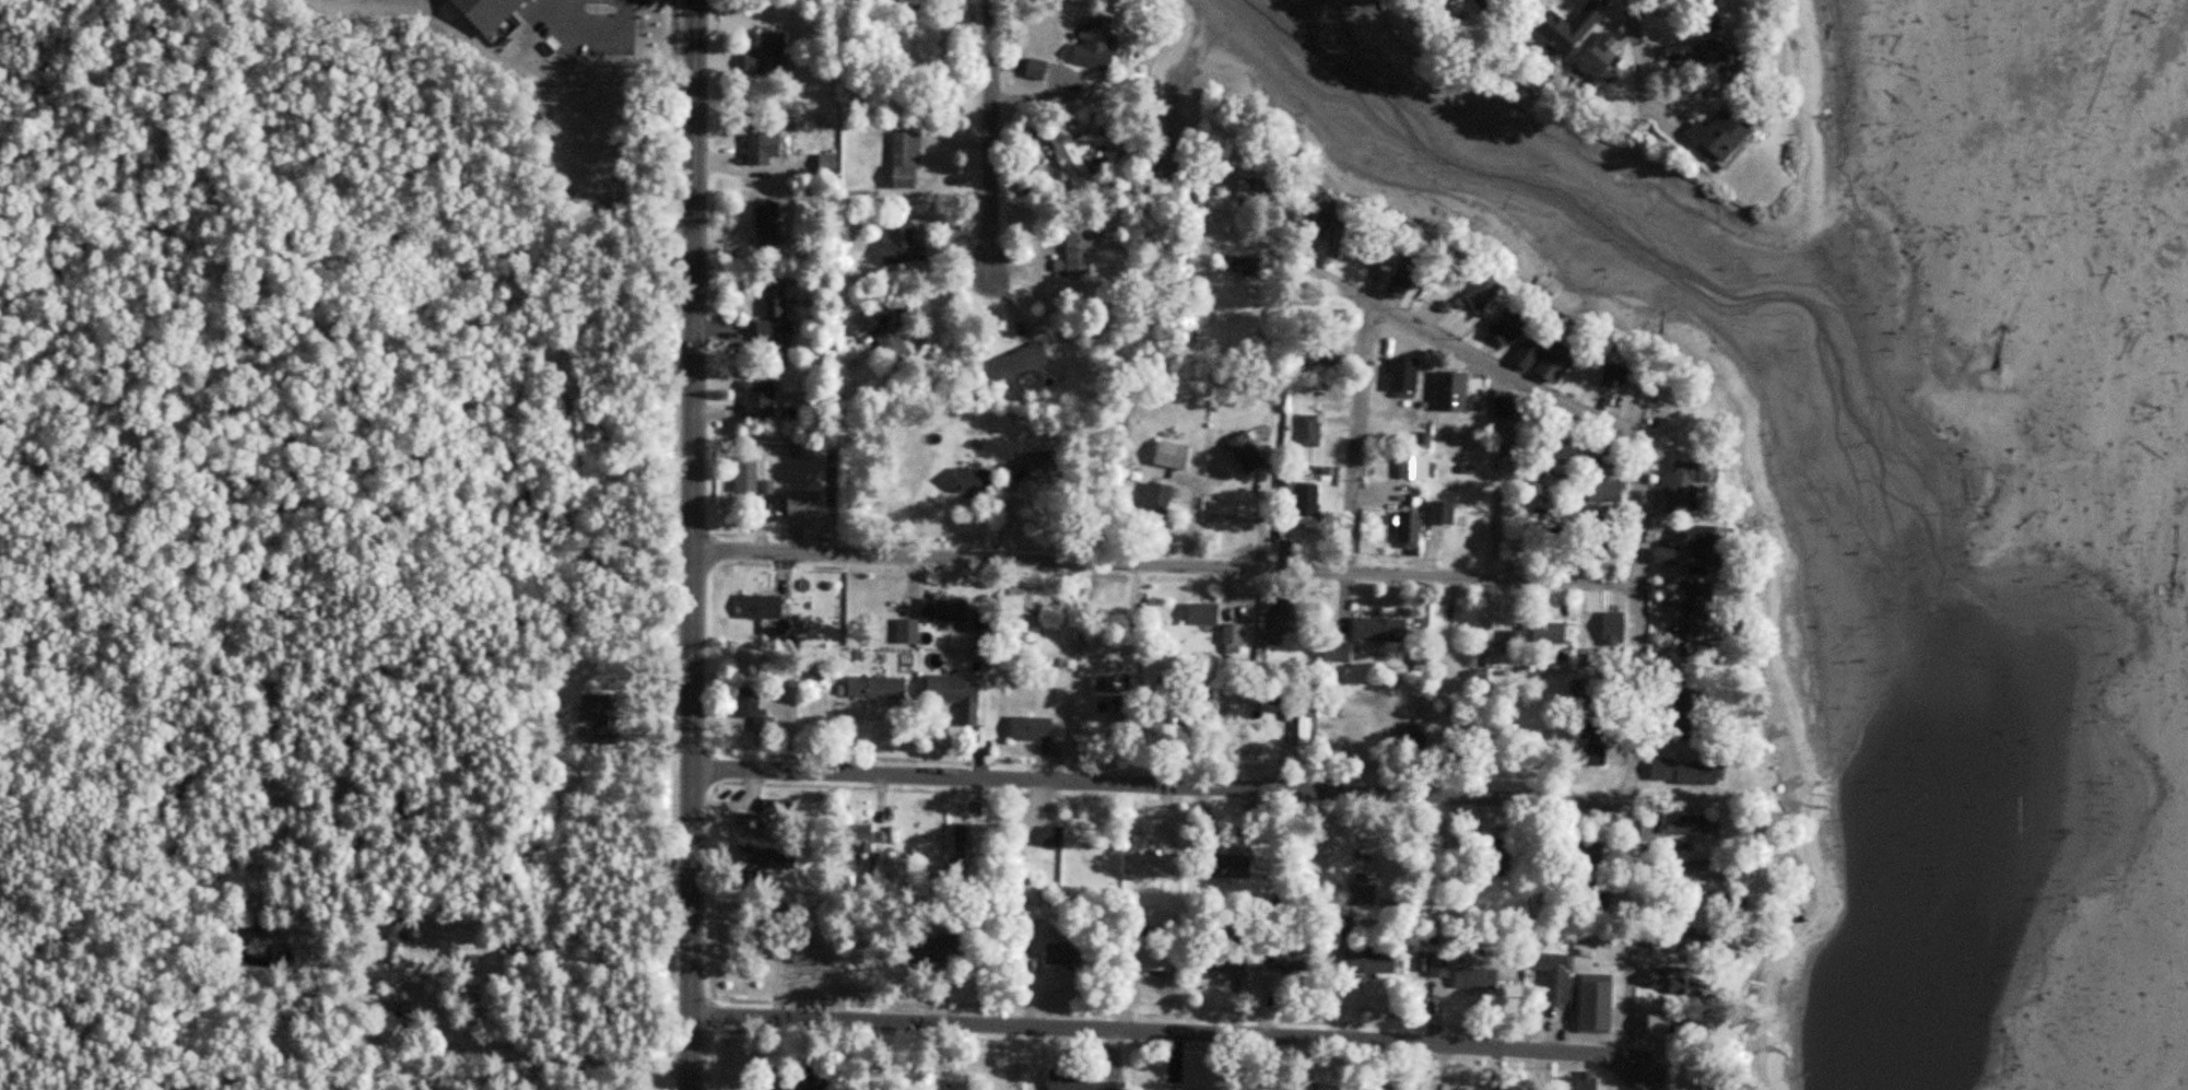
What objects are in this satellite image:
building: (1494, 4)
building: (1711, 7)
building: (1562, 30)
building: (1101, 42)
building: (768, 50)
building: (1600, 56)
building: (1724, 57)
road: (1630, 72)
road: (990, 128)
building: (1719, 131)
building: (767, 143)
building: (1083, 153)
building: (909, 159)
building: (831, 163)
building: (1264, 189)
building: (1325, 216)
building: (769, 223)
building: (905, 241)
building: (1348, 241)
building: (1085, 248)
building: (1388, 254)
building: (1255, 266)
building: (1412, 274)
road: (1344, 289)
building: (1486, 291)
building: (778, 313)
building: (1519, 325)
building: (887, 338)
building: (1322, 351)
building: (1549, 356)
building: (1025, 361)
building: (1622, 374)
building: (1456, 389)
building: (763, 397)
building: (1313, 430)
road: (1358, 437)
building: (1175, 455)
building: (1619, 461)
building: (1418, 467)
road: (1642, 468)
building: (750, 472)
building: (976, 479)
building: (1691, 482)
building: (1612, 491)
building: (1162, 500)
building: (1310, 500)
building: (808, 501)
building: (1447, 512)
building: (1413, 528)
building: (1710, 536)
building: (1469, 539)
road: (696, 544)
building: (1672, 555)
road: (1167, 567)
building: (764, 607)
building: (1706, 609)
building: (948, 610)
building: (1207, 611)
building: (1385, 629)
building: (1553, 632)
building: (1236, 638)
building: (1341, 653)
building: (753, 660)
building: (879, 685)
building: (960, 694)
building: (751, 701)
building: (1696, 704)
building: (601, 707)
building: (1035, 728)
building: (1308, 728)
building: (1418, 731)
building: (1599, 743)
building: (1691, 772)
road: (1163, 789)
building: (753, 824)
building: (1692, 824)
building: (1056, 836)
building: (1501, 856)
building: (780, 858)
building: (1235, 865)
building: (1160, 866)
building: (1714, 870)
building: (1369, 883)
building: (397, 937)
building: (1698, 941)
building: (799, 950)
building: (939, 951)
building: (1066, 954)
building: (1291, 959)
building: (1155, 960)
building: (1374, 961)
building: (1227, 968)
building: (1556, 977)
building: (1482, 978)
building: (1696, 987)
building: (1600, 1018)
building: (389, 1024)
building: (1669, 1025)
road: (1221, 1038)
road: (531, 1054)
building: (1078, 1079)

